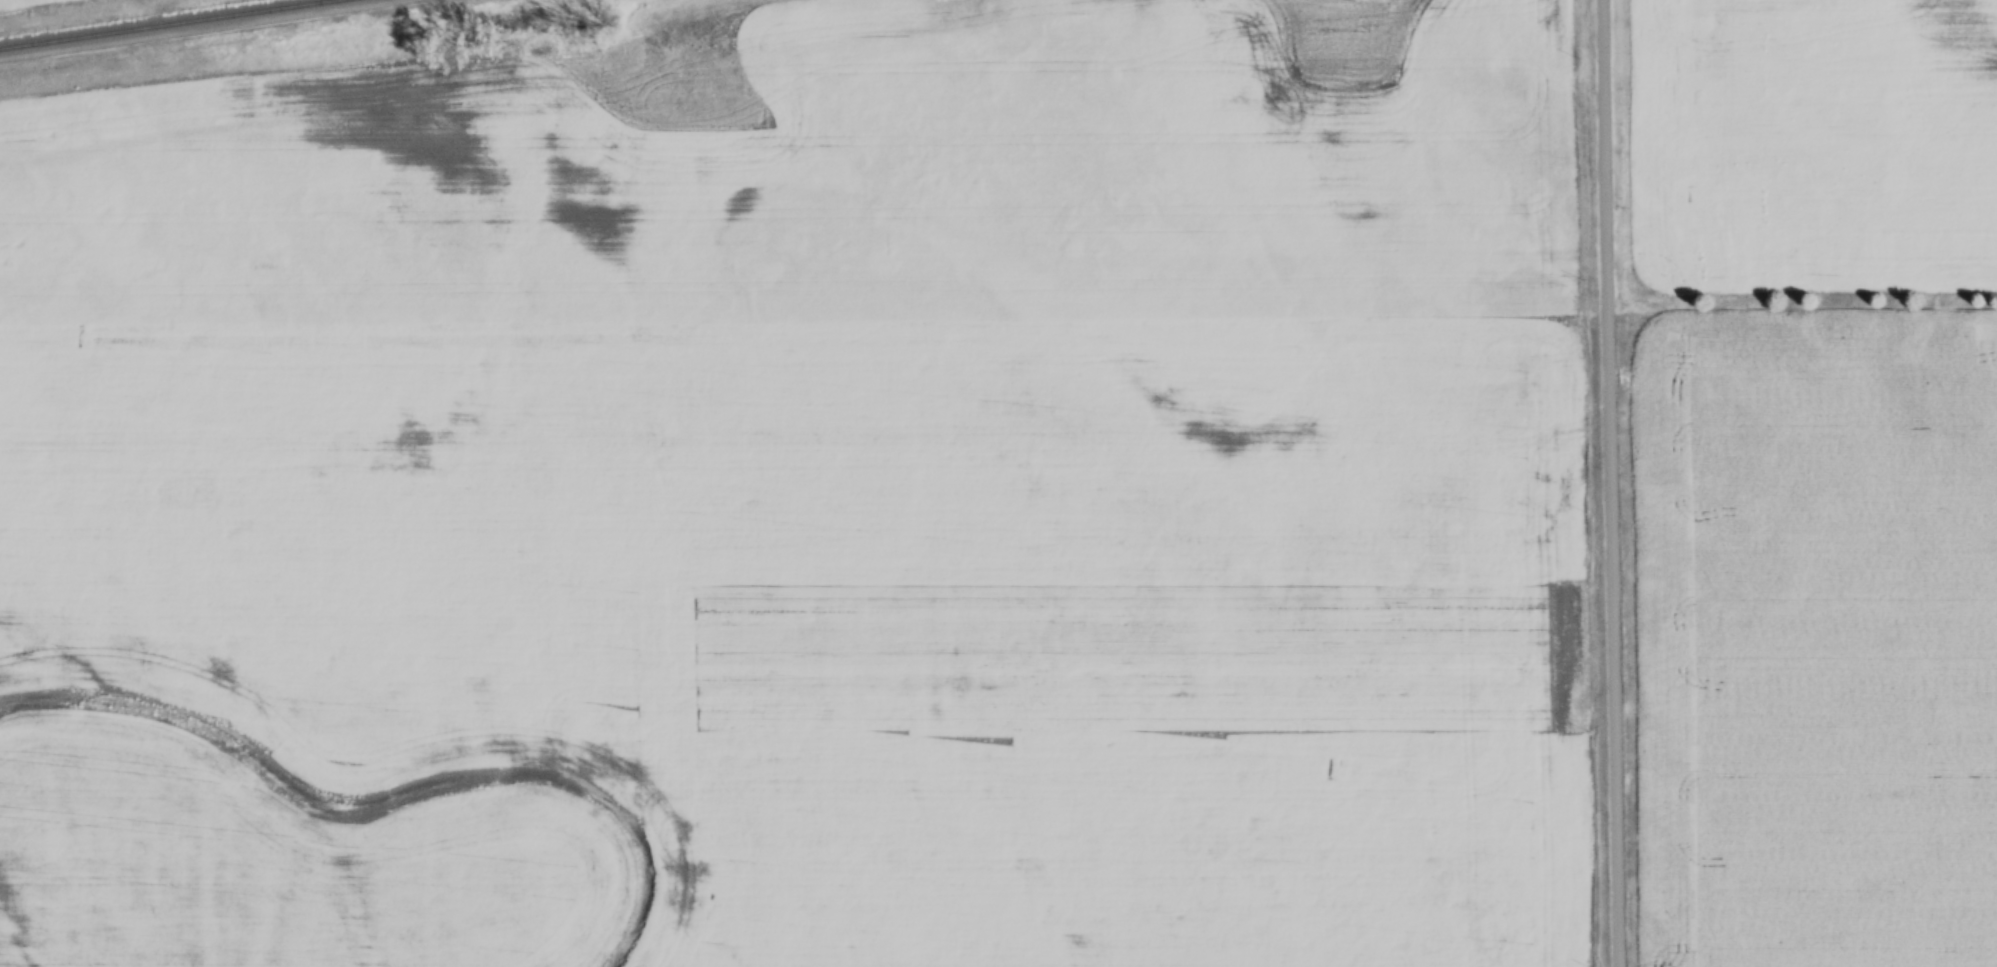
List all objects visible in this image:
railway: (169, 24)
road: (1611, 483)

